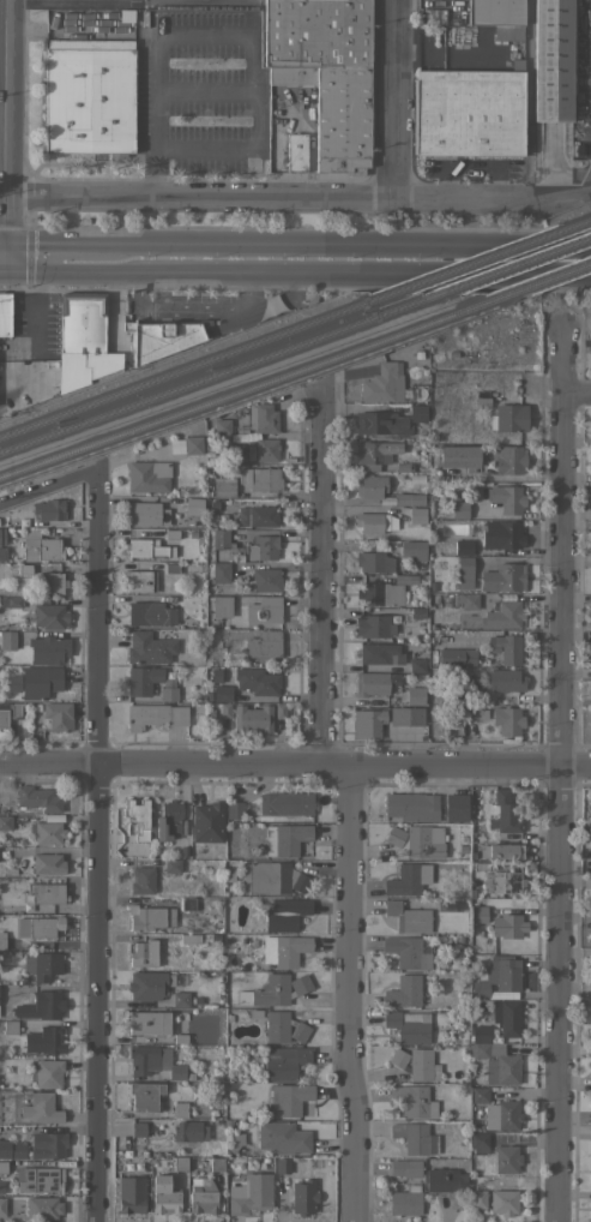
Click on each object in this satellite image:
road: (2, 4)
building: (495, 12)
building: (125, 14)
road: (225, 28)
building: (508, 31)
road: (2, 40)
building: (551, 67)
building: (328, 71)
building: (291, 74)
building: (89, 96)
road: (391, 98)
building: (469, 112)
road: (2, 133)
building: (296, 151)
road: (586, 155)
road: (555, 181)
road: (559, 191)
road: (265, 196)
railway: (587, 222)
road: (0, 240)
traffic signals: (1, 240)
road: (52, 240)
road: (346, 244)
railway: (488, 259)
railway: (515, 265)
road: (0, 268)
traffic signals: (1, 268)
road: (295, 271)
railway: (549, 277)
building: (5, 313)
building: (162, 337)
building: (83, 340)
building: (0, 347)
building: (452, 354)
building: (417, 355)
railway: (197, 366)
railway: (221, 375)
building: (384, 382)
railway: (253, 384)
road: (574, 391)
building: (417, 412)
building: (263, 418)
building: (511, 418)
building: (381, 423)
building: (222, 426)
building: (193, 444)
building: (176, 445)
building: (266, 449)
building: (237, 451)
building: (373, 454)
building: (458, 456)
building: (508, 459)
building: (403, 467)
building: (446, 474)
building: (147, 475)
building: (261, 478)
building: (370, 485)
road: (48, 487)
building: (223, 489)
building: (506, 497)
building: (409, 498)
building: (194, 505)
building: (459, 508)
building: (49, 509)
building: (146, 514)
building: (261, 515)
building: (417, 515)
building: (374, 522)
building: (170, 533)
building: (502, 534)
building: (2, 535)
building: (221, 538)
building: (36, 546)
building: (463, 546)
building: (145, 547)
building: (261, 547)
building: (414, 549)
building: (2, 553)
building: (374, 561)
building: (23, 569)
building: (221, 571)
building: (464, 571)
road: (316, 575)
building: (503, 576)
building: (139, 580)
building: (264, 580)
building: (52, 582)
building: (384, 591)
building: (468, 600)
building: (11, 601)
building: (221, 605)
building: (264, 610)
building: (150, 612)
building: (417, 613)
building: (502, 615)
building: (50, 616)
building: (379, 625)
building: (7, 639)
building: (264, 646)
building: (149, 647)
building: (506, 647)
building: (48, 649)
building: (376, 652)
building: (457, 657)
building: (417, 665)
building: (215, 675)
building: (503, 679)
building: (40, 681)
building: (257, 681)
building: (137, 682)
building: (374, 682)
building: (13, 683)
building: (222, 693)
building: (448, 694)
building: (415, 695)
building: (209, 696)
building: (223, 711)
building: (278, 711)
building: (8, 712)
building: (472, 712)
building: (59, 715)
building: (155, 715)
building: (406, 715)
building: (252, 719)
building: (507, 720)
building: (369, 724)
road: (295, 762)
road: (555, 773)
building: (38, 797)
building: (285, 803)
building: (412, 805)
building: (456, 807)
building: (235, 809)
building: (505, 810)
building: (138, 816)
building: (207, 821)
building: (6, 822)
building: (171, 822)
building: (476, 828)
building: (47, 832)
building: (587, 833)
building: (394, 835)
building: (285, 838)
building: (424, 840)
road: (94, 845)
building: (505, 851)
building: (48, 863)
building: (171, 865)
building: (12, 870)
building: (227, 875)
building: (272, 877)
building: (404, 879)
building: (141, 880)
building: (503, 881)
building: (48, 892)
building: (471, 893)
building: (187, 903)
building: (447, 905)
building: (285, 913)
building: (478, 913)
building: (150, 917)
building: (408, 917)
building: (44, 926)
building: (508, 926)
building: (191, 938)
building: (1, 942)
building: (284, 950)
building: (406, 952)
building: (144, 953)
building: (46, 965)
building: (499, 977)
building: (301, 984)
building: (147, 986)
building: (267, 990)
building: (404, 992)
road: (344, 993)
building: (181, 999)
building: (41, 1006)
building: (254, 1014)
building: (507, 1017)
building: (147, 1022)
building: (409, 1025)
building: (10, 1026)
building: (284, 1028)
building: (480, 1034)
building: (179, 1038)
building: (44, 1040)
building: (398, 1058)
building: (155, 1061)
building: (284, 1061)
building: (496, 1062)
building: (423, 1065)
building: (48, 1072)
building: (480, 1094)
building: (145, 1095)
building: (288, 1098)
building: (415, 1100)
building: (40, 1108)
building: (180, 1108)
building: (501, 1114)
building: (138, 1128)
building: (181, 1131)
building: (283, 1137)
building: (415, 1137)
building: (236, 1140)
building: (478, 1142)
building: (48, 1144)
building: (590, 1145)
building: (12, 1149)
building: (506, 1158)
building: (180, 1163)
building: (216, 1163)
building: (283, 1164)
building: (405, 1167)
building: (41, 1179)
building: (445, 1179)
building: (0, 1187)
building: (131, 1193)
building: (249, 1193)
building: (164, 1194)
building: (203, 1194)
building: (303, 1197)
building: (478, 1198)
building: (405, 1200)
building: (502, 1202)
building: (2, 1205)
building: (42, 1206)

